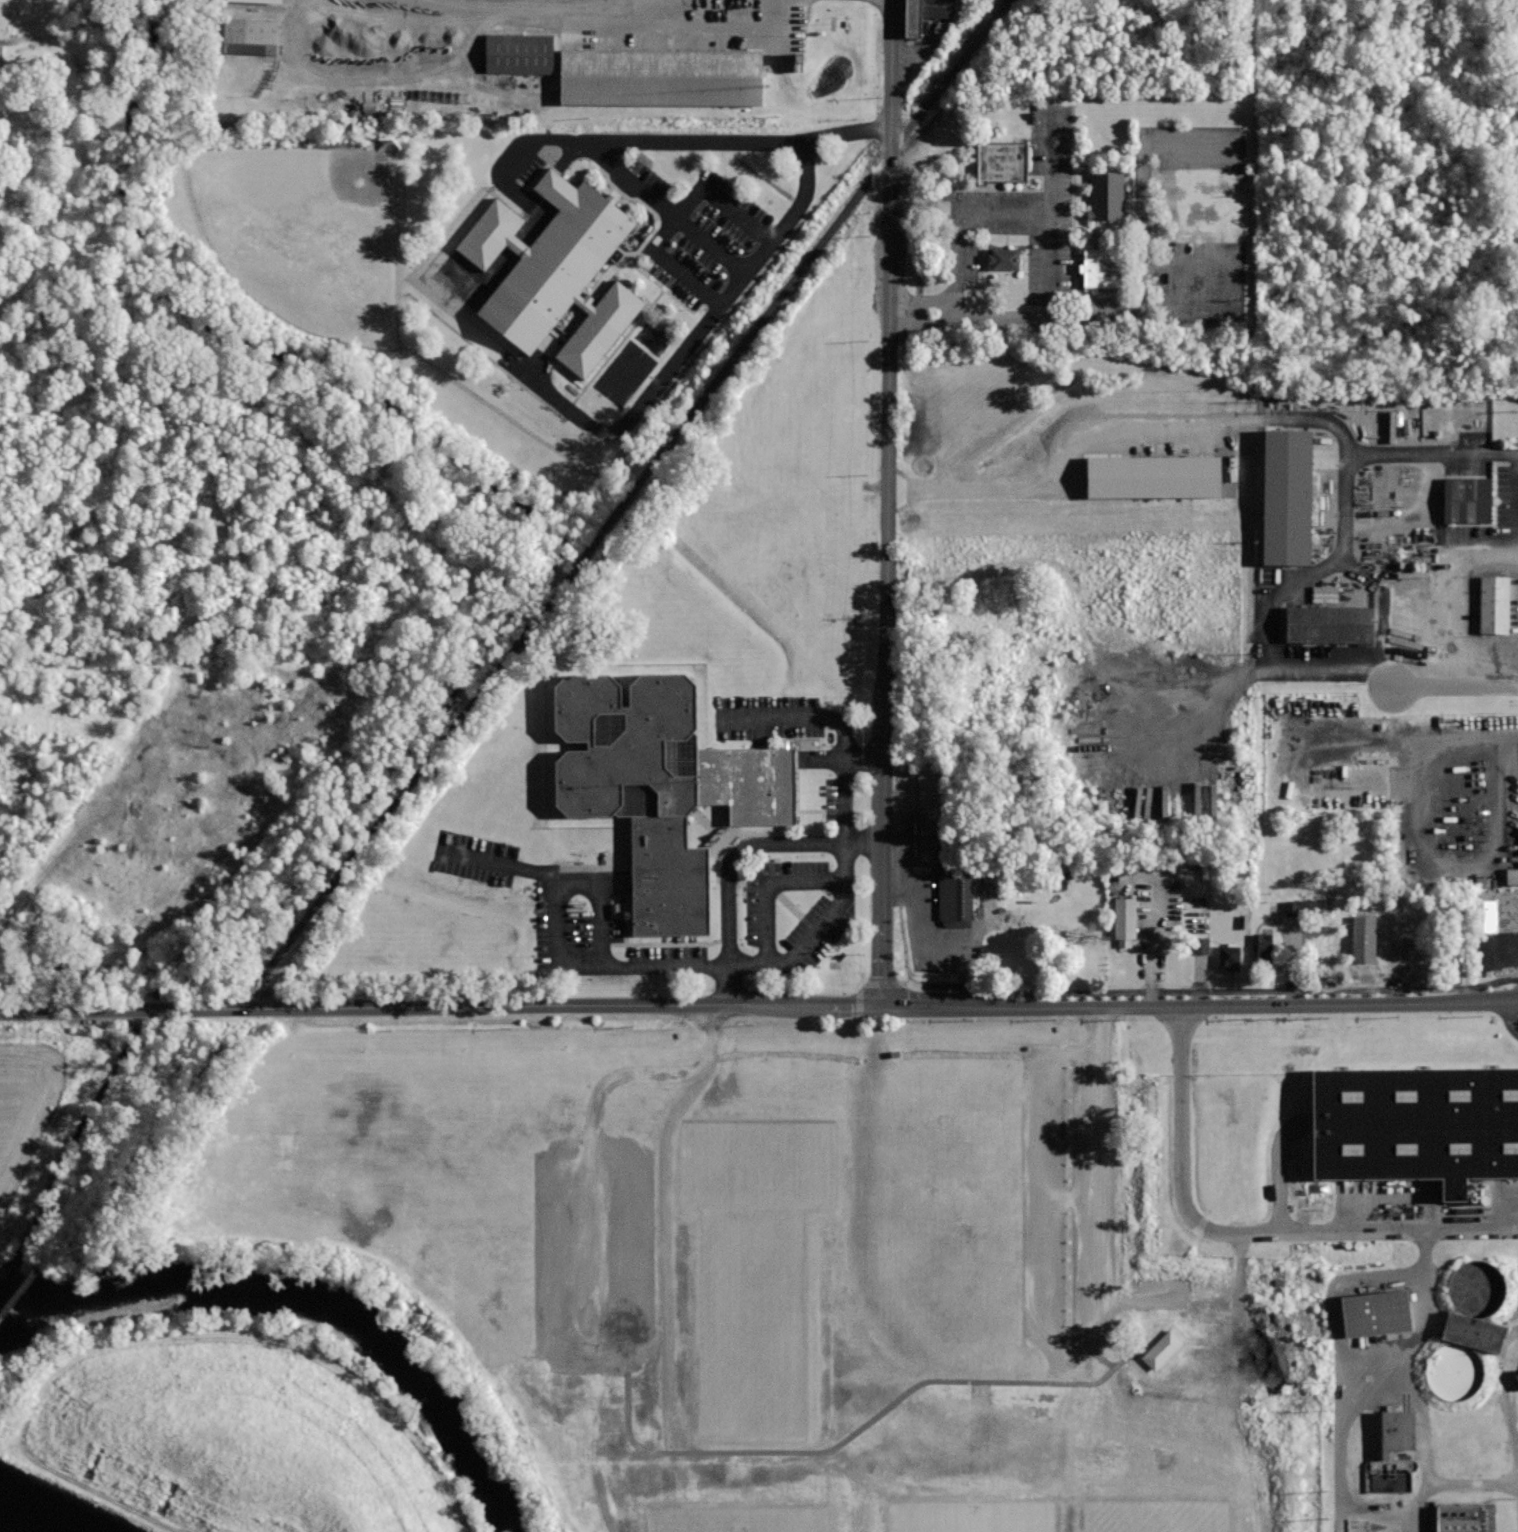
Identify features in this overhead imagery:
building: (252, 1)
parking lot: (878, 5)
road: (564, 13)
building: (924, 13)
parking lot: (663, 25)
parking lot: (923, 34)
road: (790, 36)
building: (248, 37)
road: (696, 37)
building: (516, 54)
road: (385, 76)
building: (661, 76)
road: (502, 91)
road: (641, 140)
building: (1001, 160)
building: (1106, 195)
road: (663, 205)
parking lot: (1009, 209)
road: (956, 214)
road: (680, 219)
road: (1098, 233)
park: (307, 234)
parking lot: (664, 238)
building: (1003, 258)
building: (1103, 267)
building: (557, 271)
road: (1057, 293)
road: (1140, 310)
road: (554, 341)
road: (686, 351)
road: (1182, 424)
parking lot: (1221, 452)
road: (1380, 454)
building: (1151, 476)
road: (641, 482)
road: (1320, 484)
building: (1283, 496)
building: (1466, 499)
road: (887, 502)
parking lot: (1432, 508)
road: (1514, 509)
road: (1423, 526)
road: (1344, 565)
road: (1076, 582)
road: (1262, 582)
road: (1436, 584)
building: (1323, 594)
building: (1493, 603)
parking lot: (1454, 611)
parking lot: (1319, 621)
building: (1329, 623)
road: (1477, 658)
road: (1455, 686)
road: (1274, 731)
road: (838, 759)
road: (1350, 769)
parking lot: (1399, 778)
building: (660, 785)
building: (930, 812)
road: (910, 840)
parking lot: (800, 848)
road: (738, 855)
road: (494, 865)
road: (1451, 869)
building: (1511, 873)
road: (601, 878)
road: (843, 878)
road: (767, 886)
road: (1498, 892)
building: (956, 896)
parking lot: (934, 908)
building: (1483, 916)
building: (1125, 917)
building: (1241, 922)
parking lot: (1500, 927)
building: (1362, 938)
building: (1198, 945)
building: (1261, 946)
road: (923, 949)
road: (1498, 950)
building: (1229, 957)
building: (1450, 958)
building: (1315, 966)
road: (864, 984)
road: (883, 984)
road: (266, 986)
road: (860, 987)
road: (1209, 992)
road: (860, 1004)
road: (1200, 1006)
road: (441, 1007)
road: (1511, 1017)
road: (860, 1021)
building: (1416, 1124)
road: (592, 1148)
road: (1281, 1166)
park: (757, 1168)
road: (1066, 1196)
parking lot: (1073, 1203)
road: (1246, 1233)
wastewater plant: (1366, 1233)
parking lot: (600, 1234)
building: (1476, 1287)
storage tank: (1476, 1287)
road: (1142, 1295)
river: (315, 1300)
building: (1376, 1312)
park: (751, 1328)
building: (1472, 1331)
building: (1161, 1350)
road: (1063, 1352)
road: (1098, 1355)
building: (1454, 1371)
storage tank: (1454, 1371)
building: (1515, 1378)
road: (1383, 1381)
road: (1506, 1391)
road: (857, 1430)
building: (1393, 1453)
road: (1428, 1494)
park: (963, 1514)
park: (1181, 1515)
park: (736, 1517)
building: (1459, 1518)

